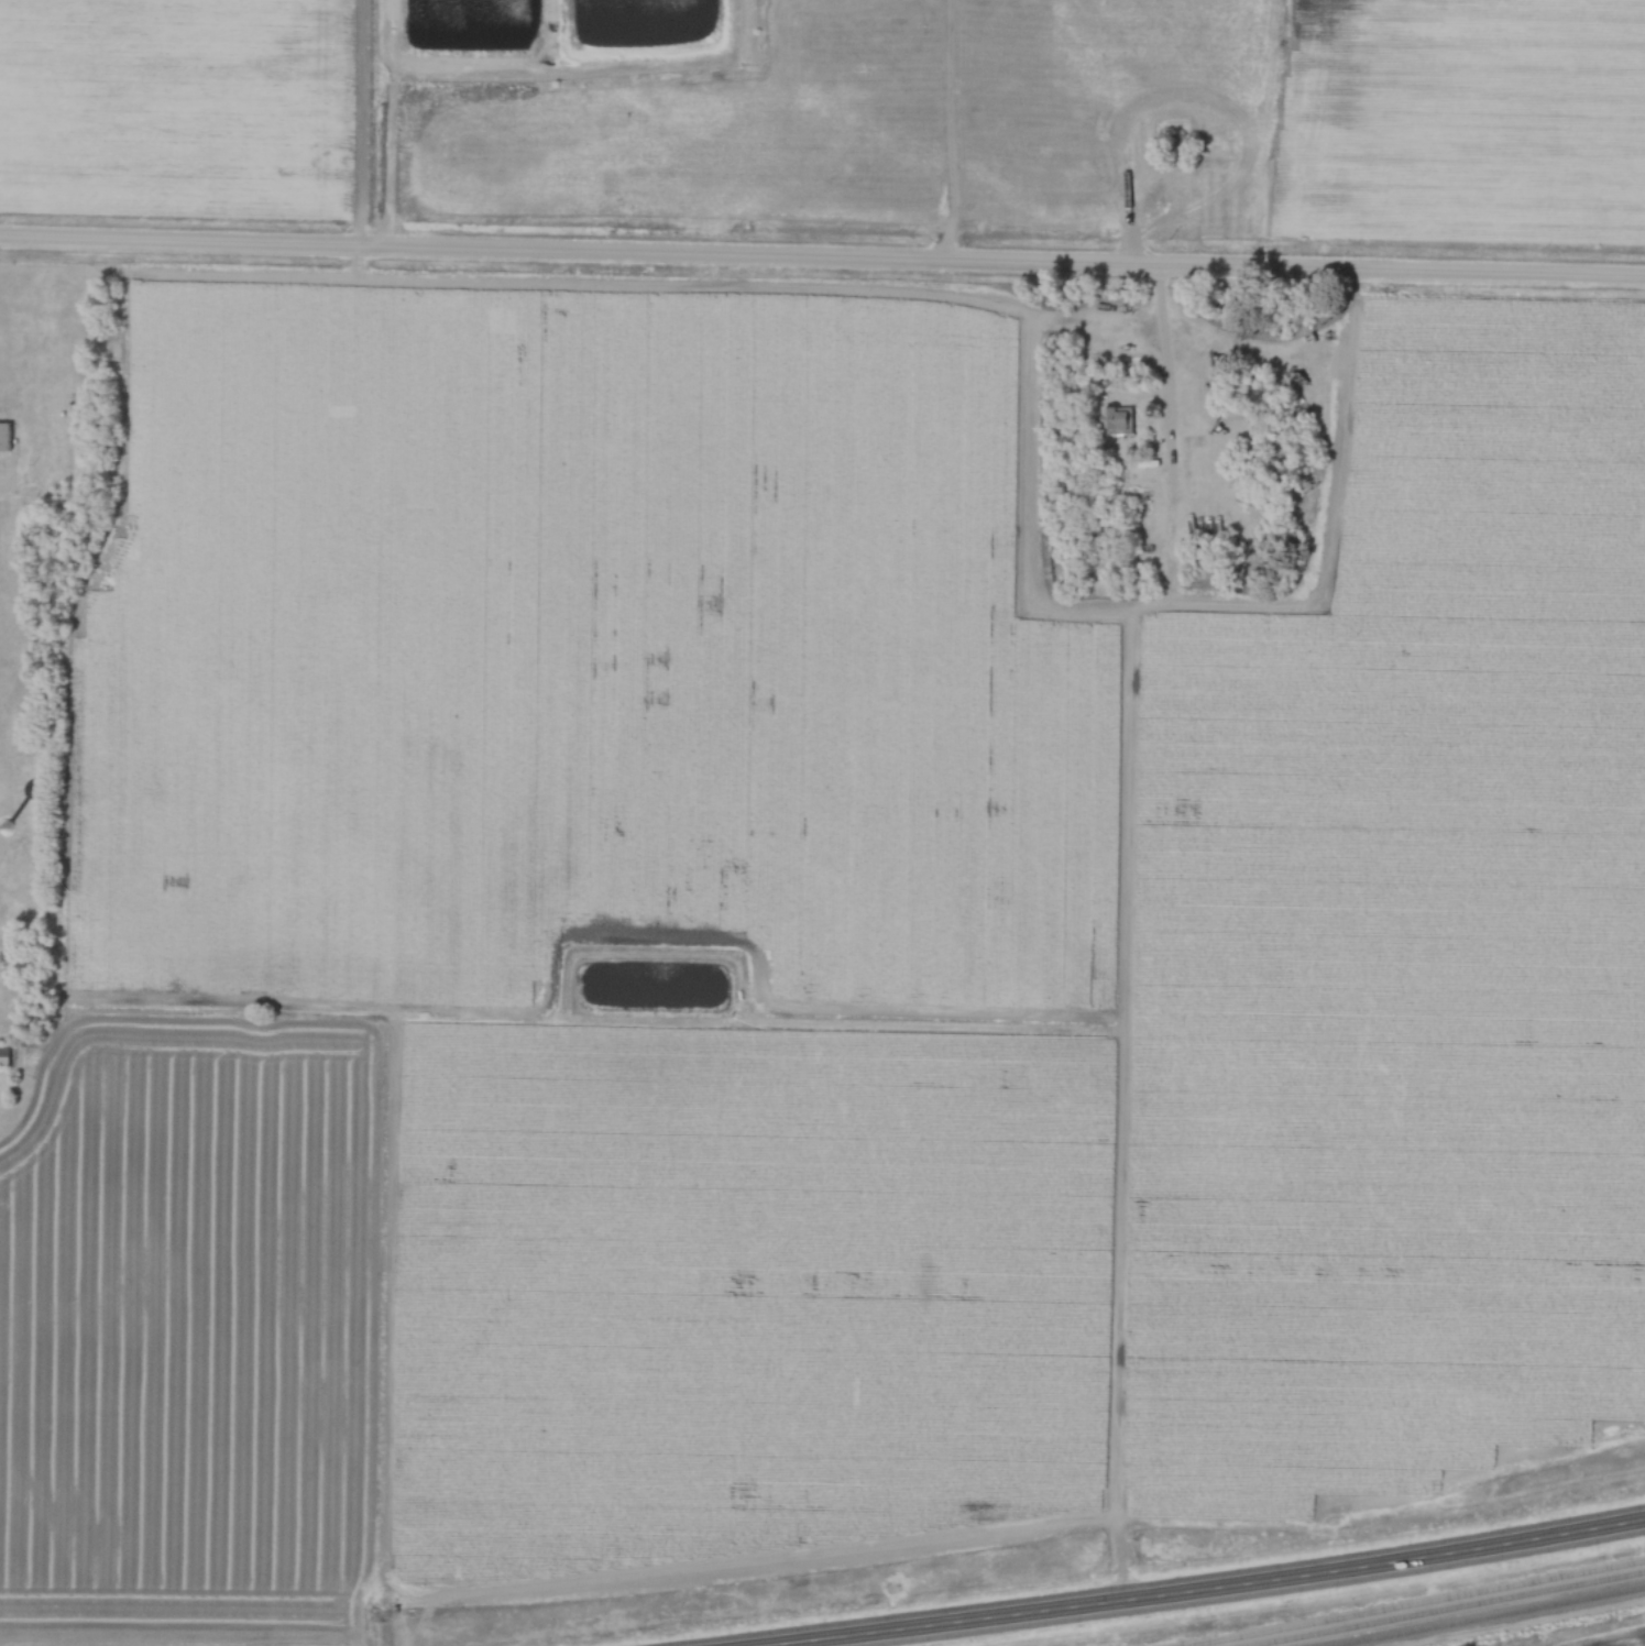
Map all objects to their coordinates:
crop: (177, 109)
building: (1177, 120)
crop: (1462, 120)
building: (1178, 147)
road: (822, 260)
road: (1154, 367)
building: (1116, 421)
building: (4, 437)
building: (1272, 567)
building: (1205, 569)
crop: (578, 650)
water tower: (4, 825)
crop: (1403, 945)
building: (3, 1056)
crop: (735, 1283)
road: (1213, 1592)
railway: (1412, 1601)
railway: (1445, 1607)
railway: (1479, 1614)
crop: (1613, 1639)

